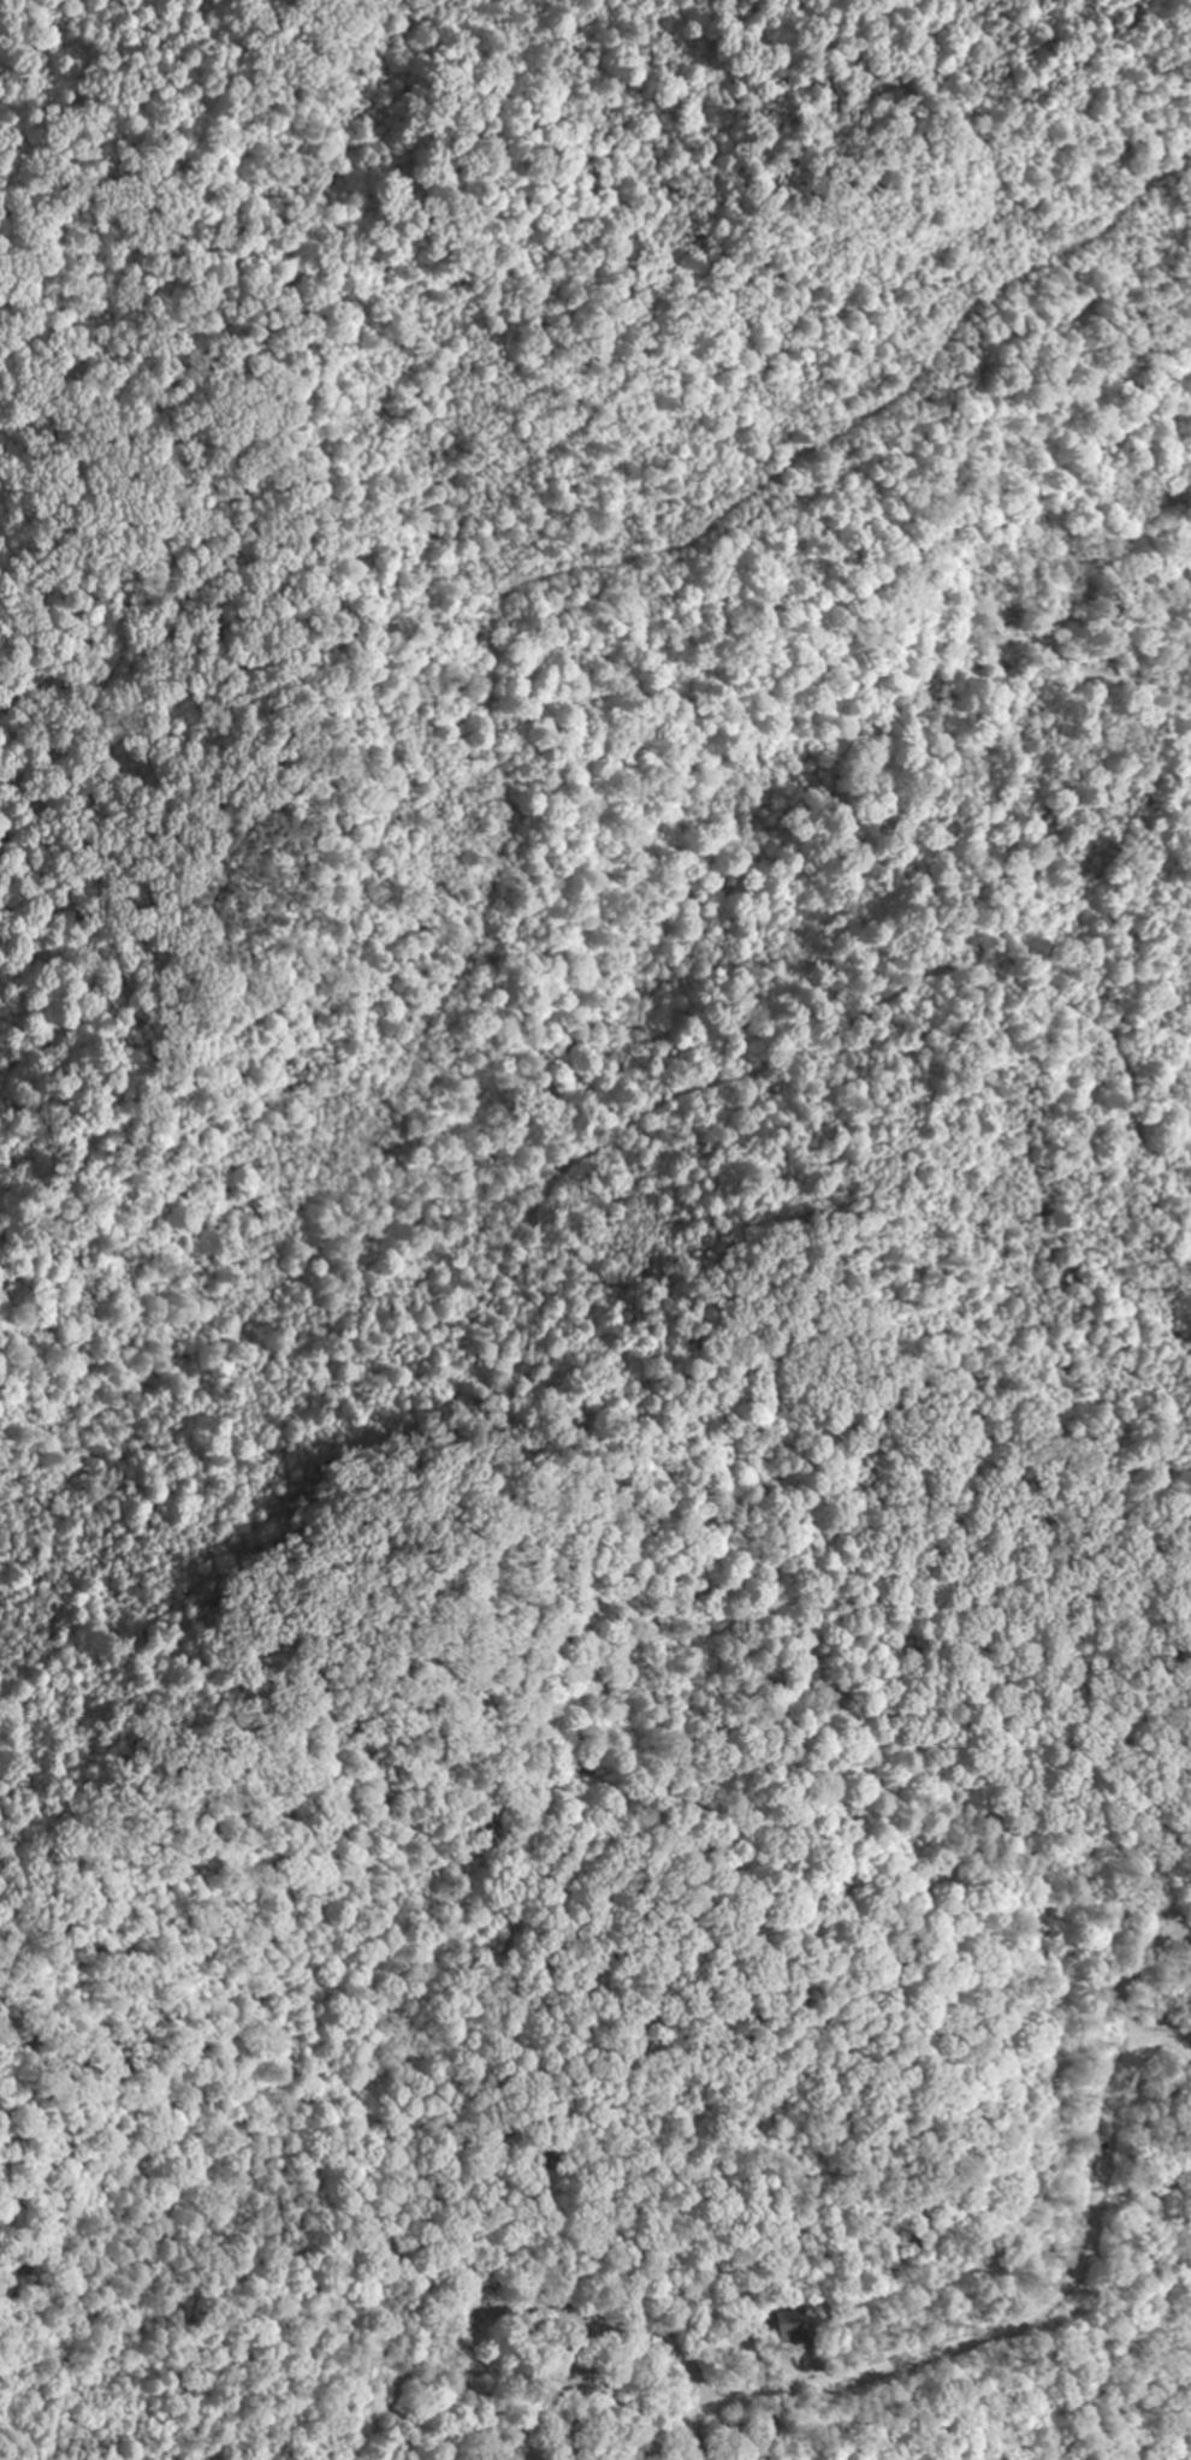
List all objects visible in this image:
road: (1017, 2323)

